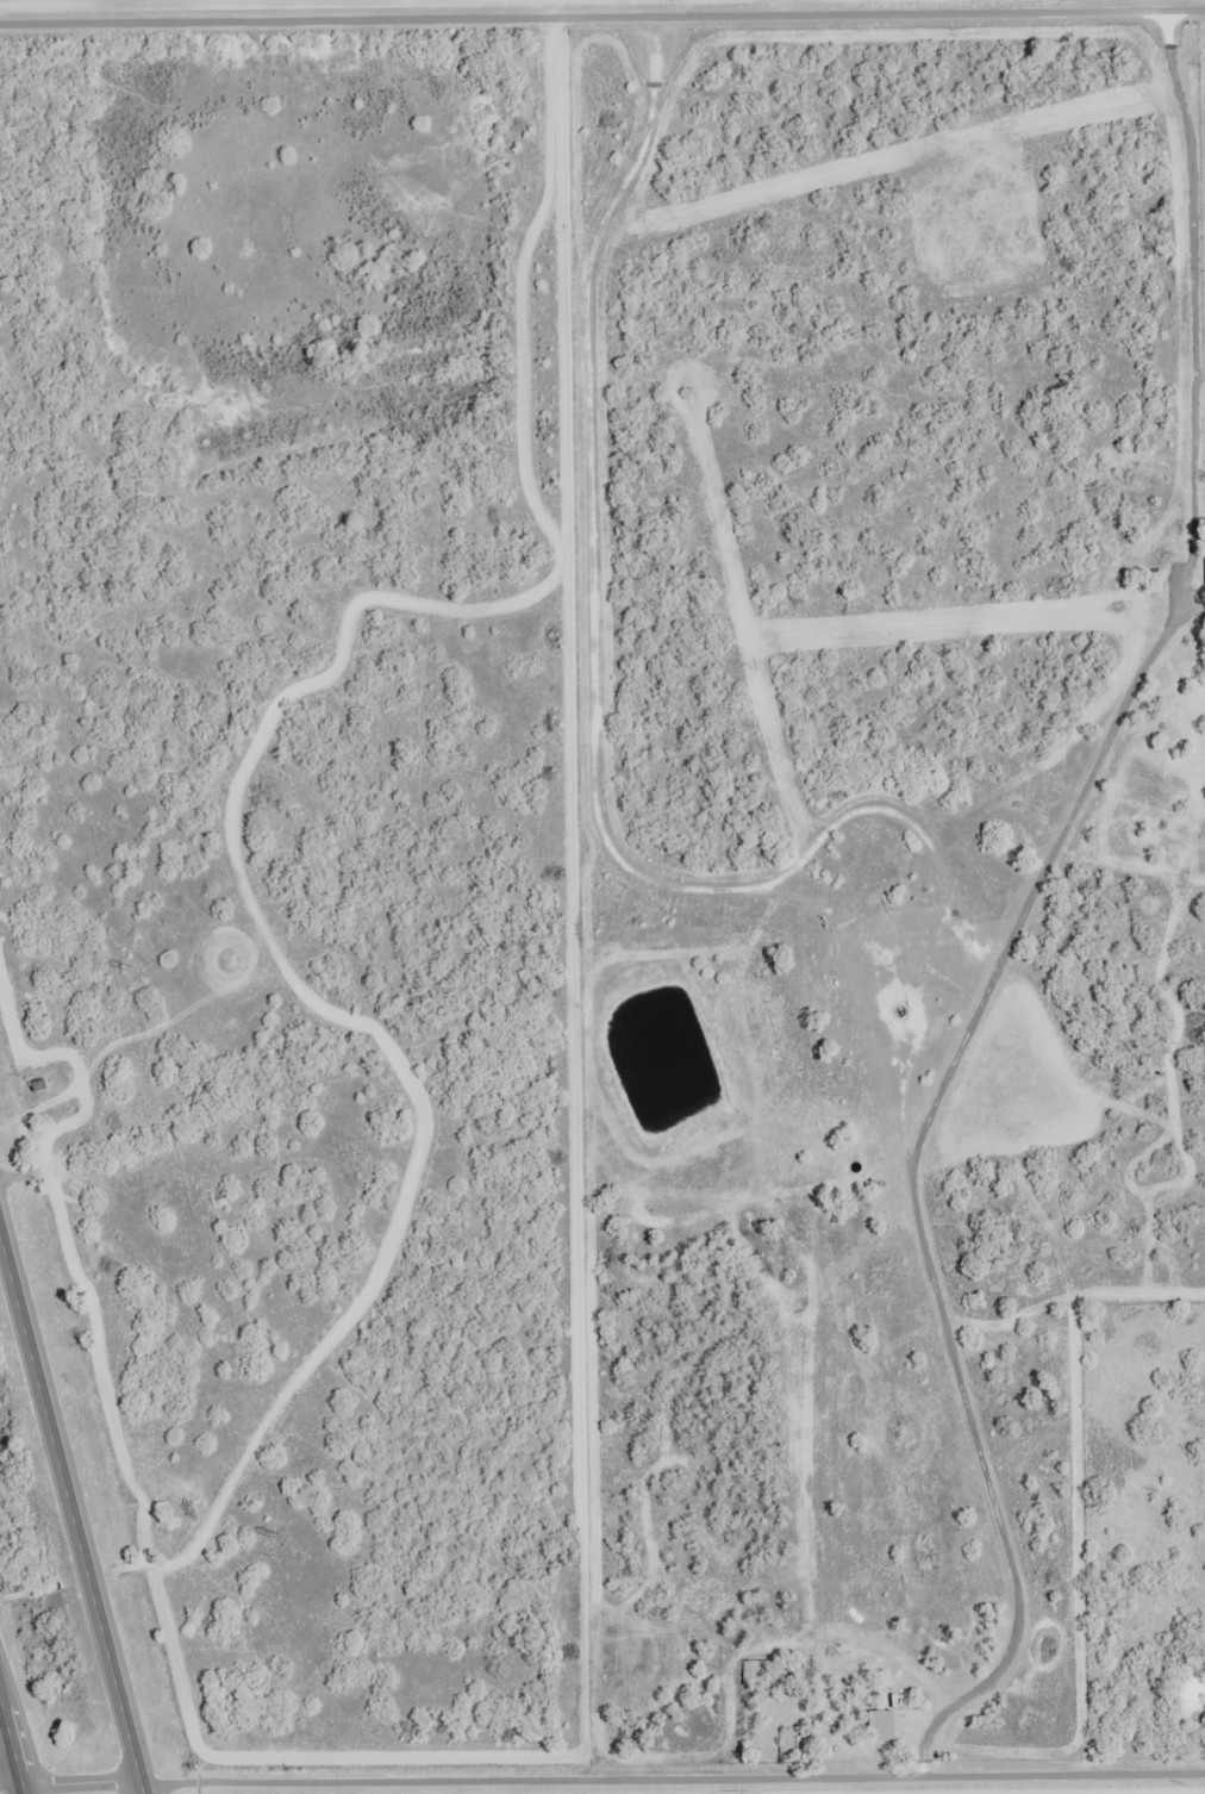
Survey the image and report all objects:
road: (508, 8)
power tower: (129, 967)
road: (71, 1502)
road: (1036, 1530)
power tower: (273, 1533)
building: (884, 1724)
road: (14, 1731)
road: (672, 1777)
road: (13, 1781)
road: (83, 1782)

